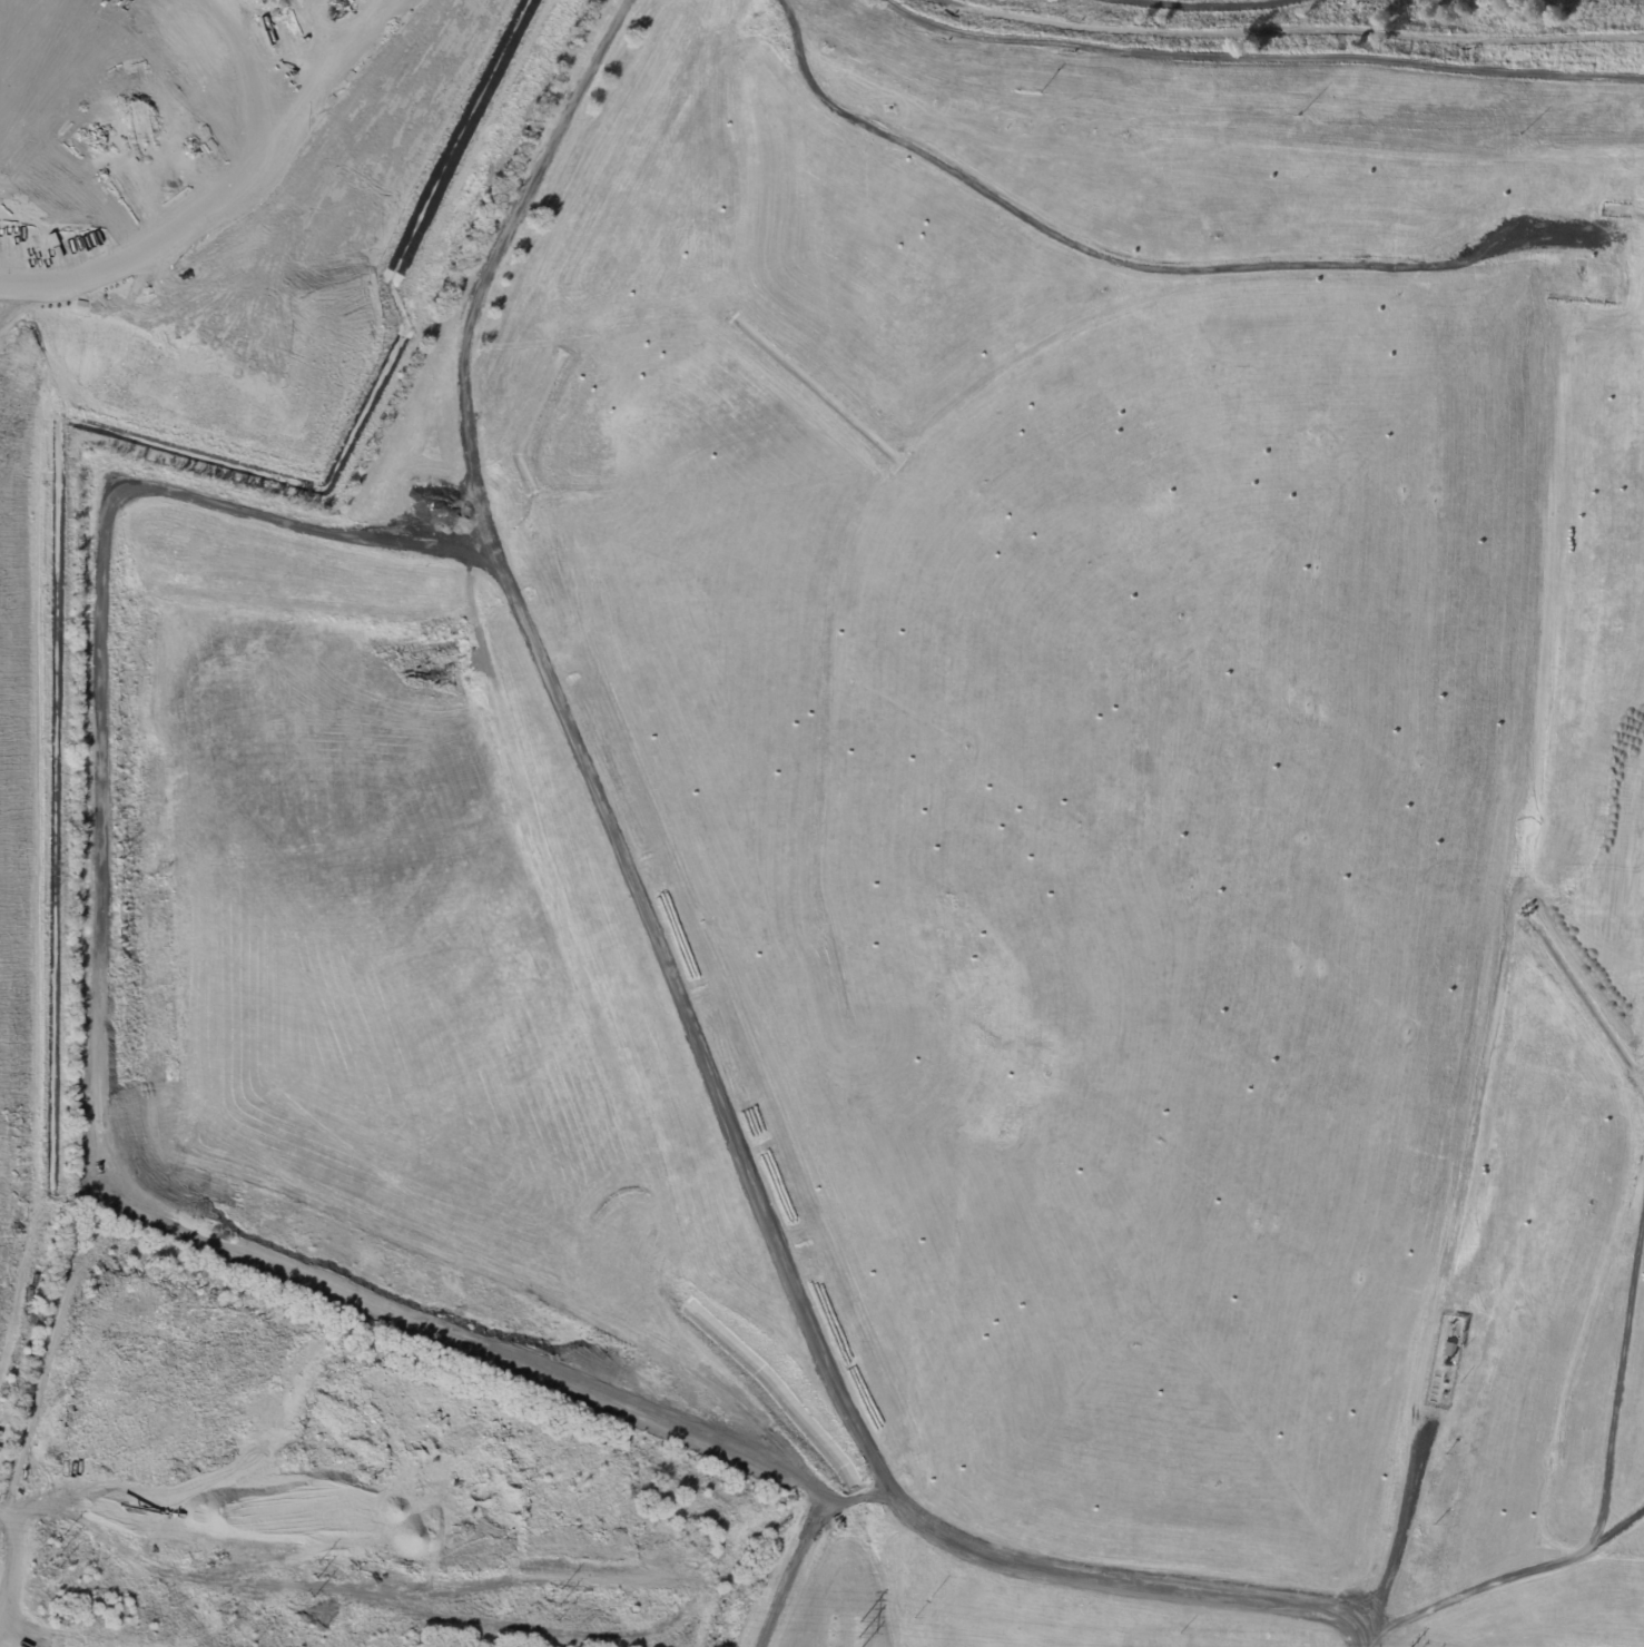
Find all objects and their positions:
road: (1208, 6)
road: (1289, 30)
road: (1259, 61)
road: (292, 263)
road: (1124, 265)
landfill: (208, 294)
landfill: (964, 810)
road: (670, 984)
building: (6, 1335)
building: (1446, 1351)
building: (0, 1433)
building: (0, 1449)
road: (1398, 1531)
road: (801, 1548)
power tower: (61, 1550)
power tower: (314, 1577)
power tower: (558, 1601)
power tower: (862, 1633)
road: (1366, 1635)

